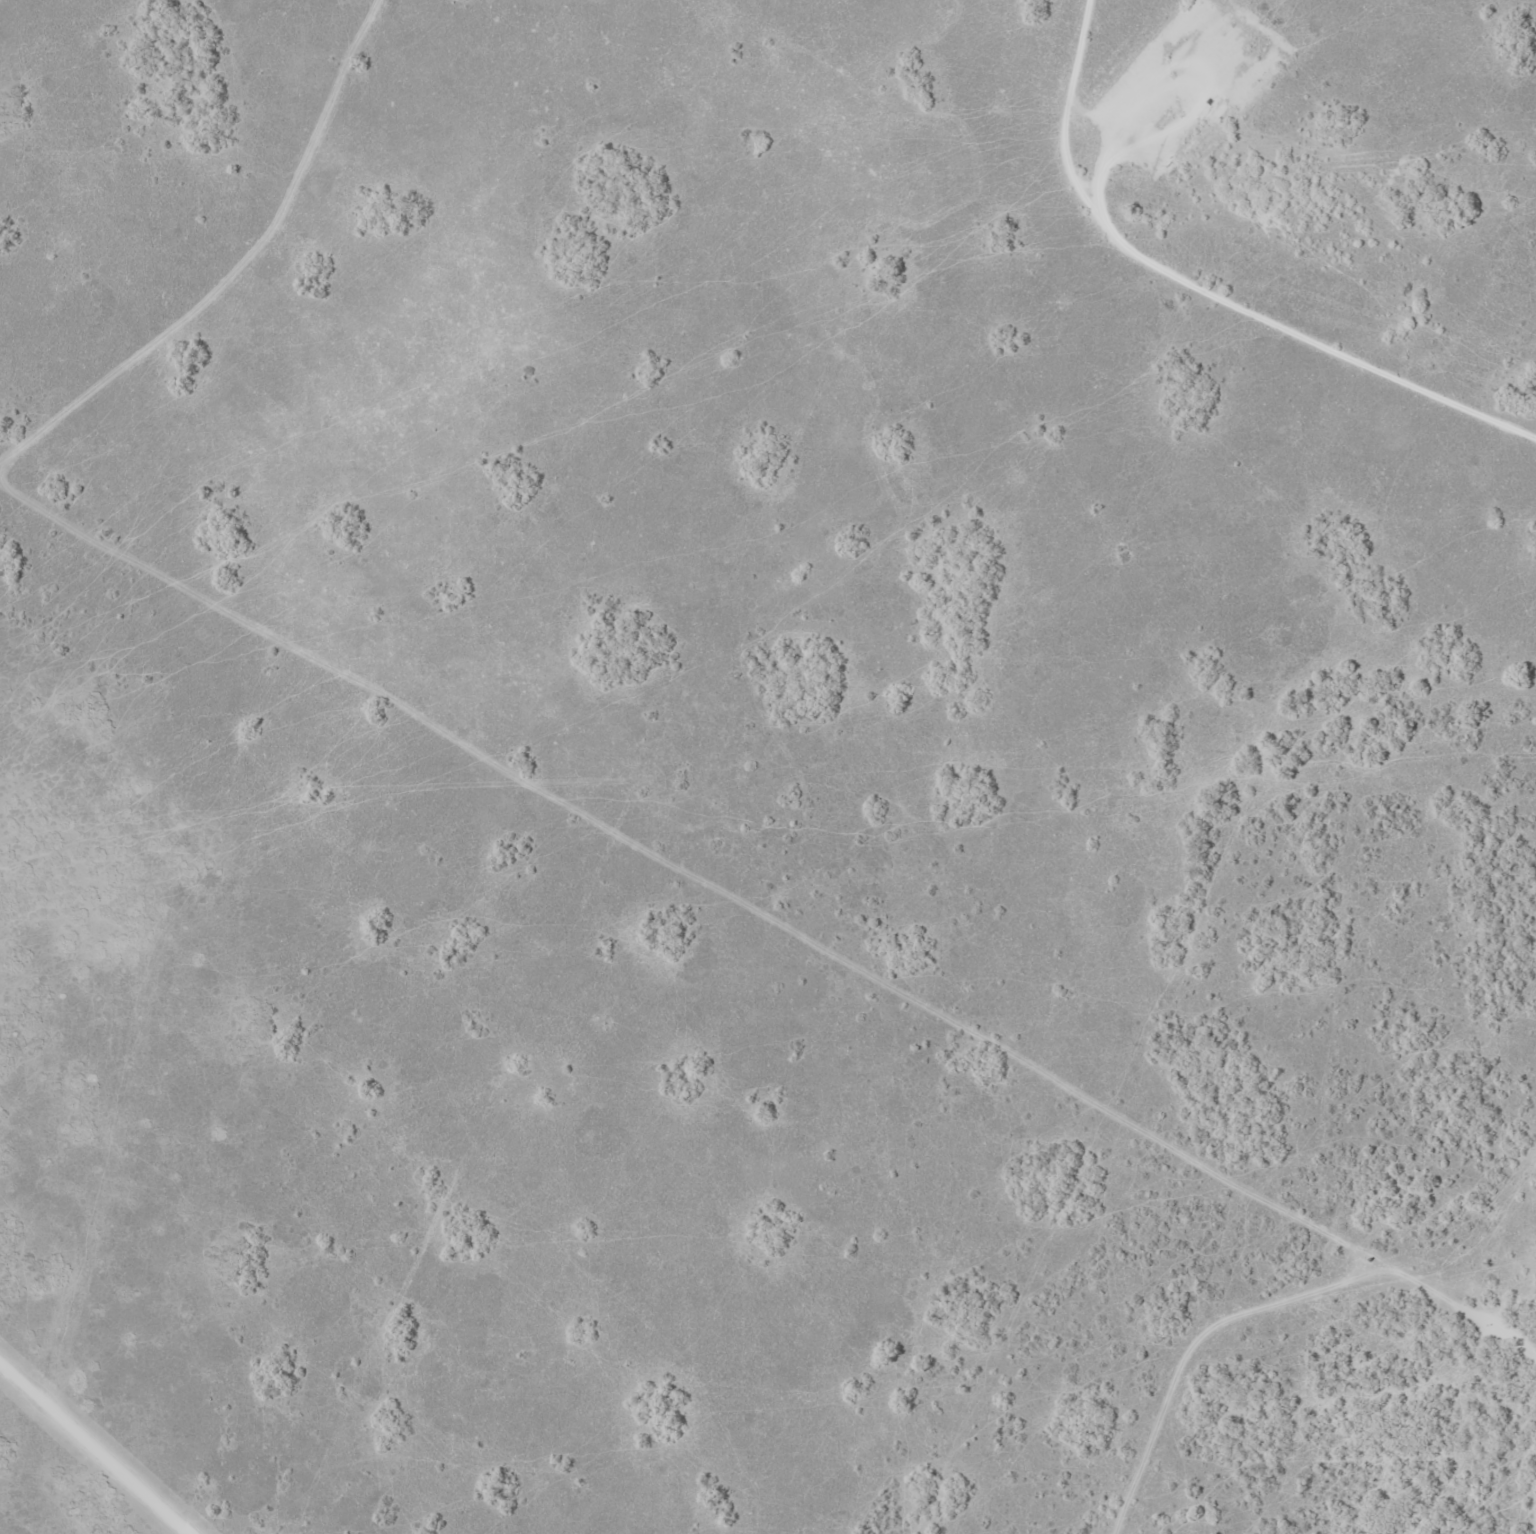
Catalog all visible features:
road: (92, 1453)

